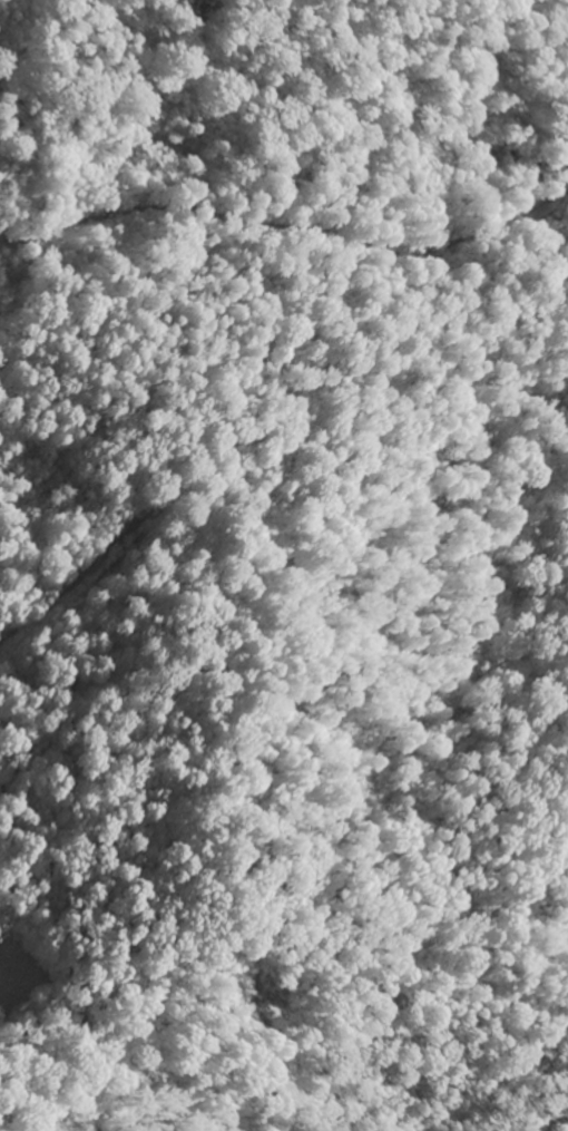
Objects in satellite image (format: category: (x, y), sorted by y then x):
road: (307, 133)

